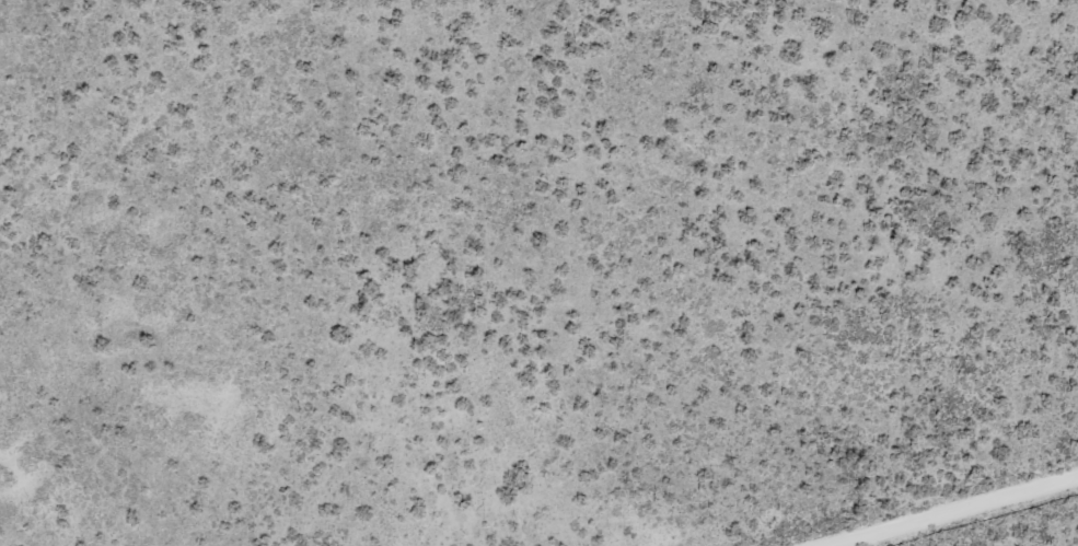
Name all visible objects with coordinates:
road: (946, 507)

